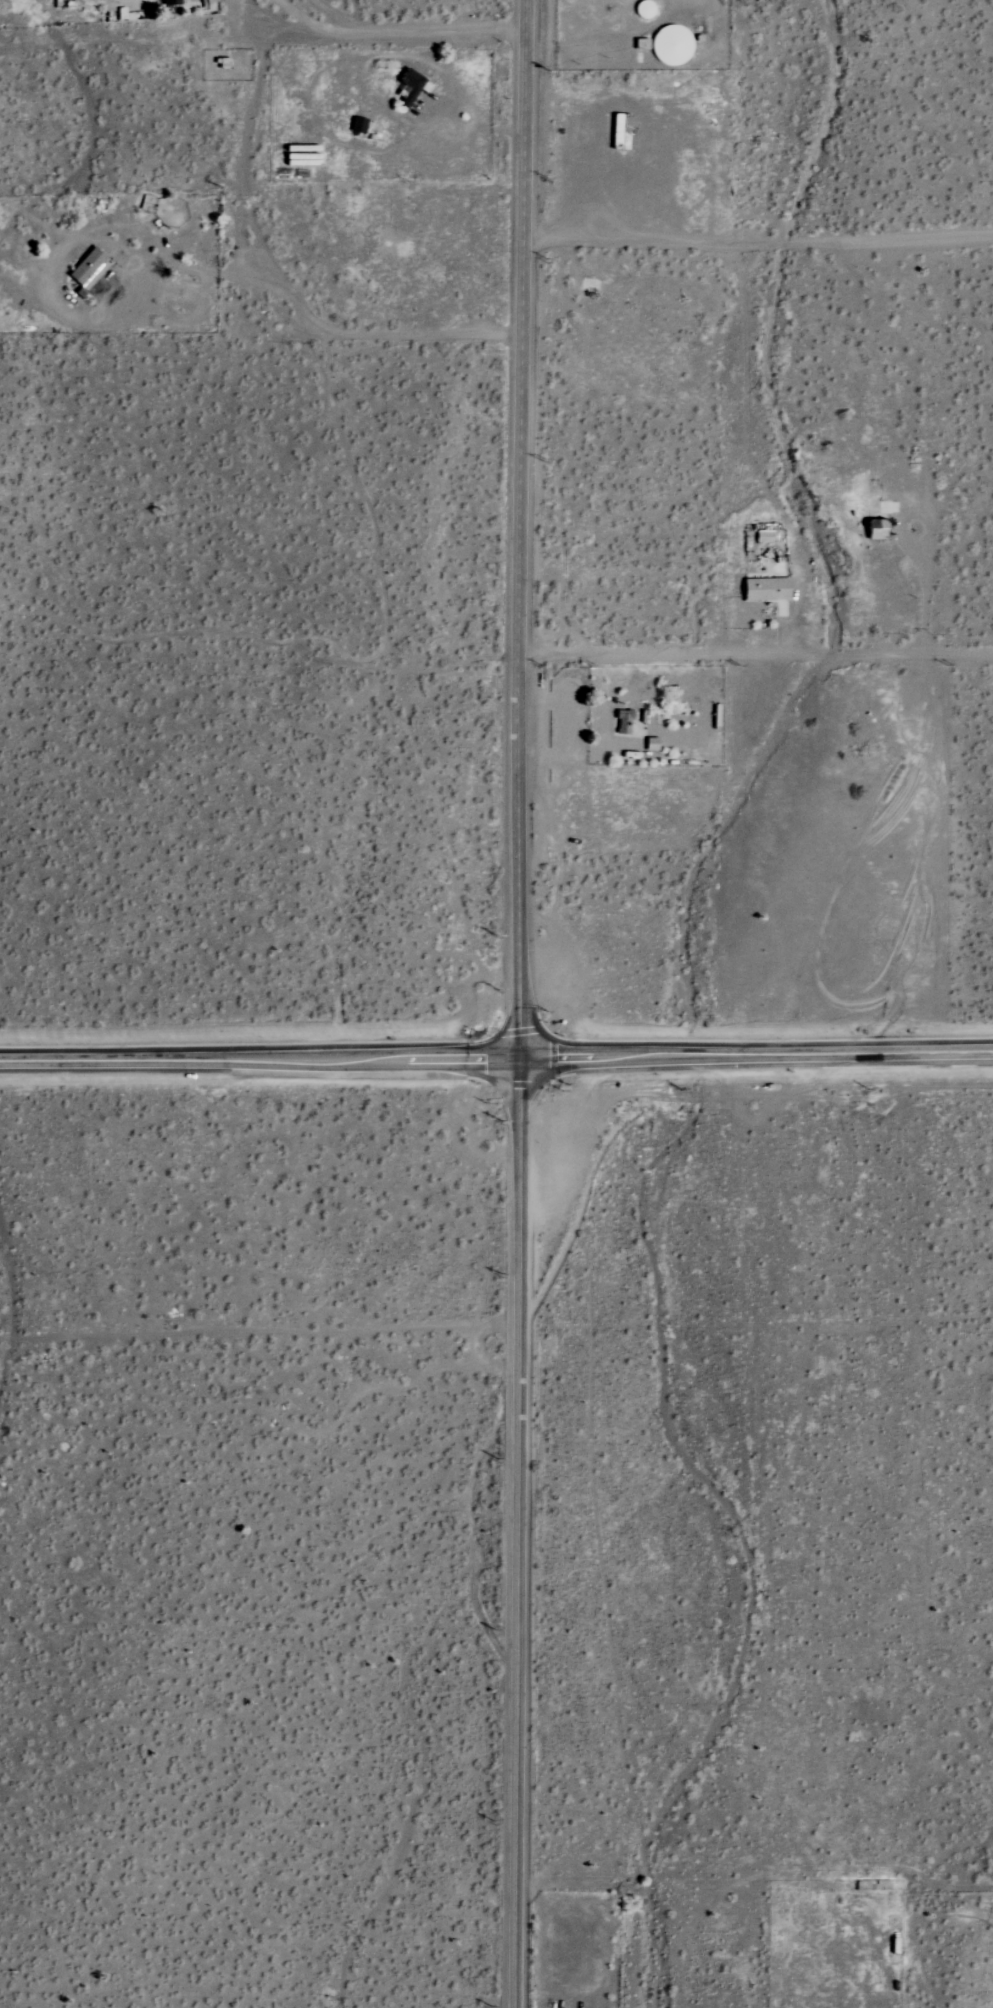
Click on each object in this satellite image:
building: (170, 3)
road: (249, 14)
road: (335, 15)
road: (385, 30)
building: (670, 45)
building: (409, 83)
road: (760, 236)
road: (182, 267)
building: (86, 268)
road: (270, 284)
road: (524, 380)
road: (924, 523)
building: (874, 529)
building: (764, 589)
road: (924, 595)
road: (785, 628)
road: (758, 652)
building: (622, 722)
road: (520, 910)
road: (756, 1054)
road: (259, 1058)
traffic signals: (519, 1058)
road: (516, 1533)

